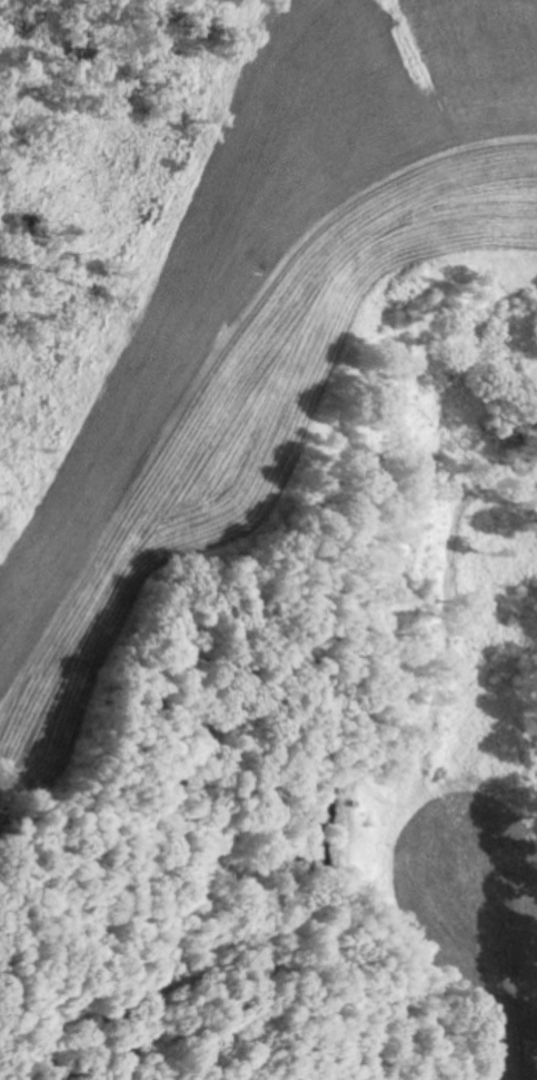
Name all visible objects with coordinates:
crop: (257, 334)
crop: (477, 914)

